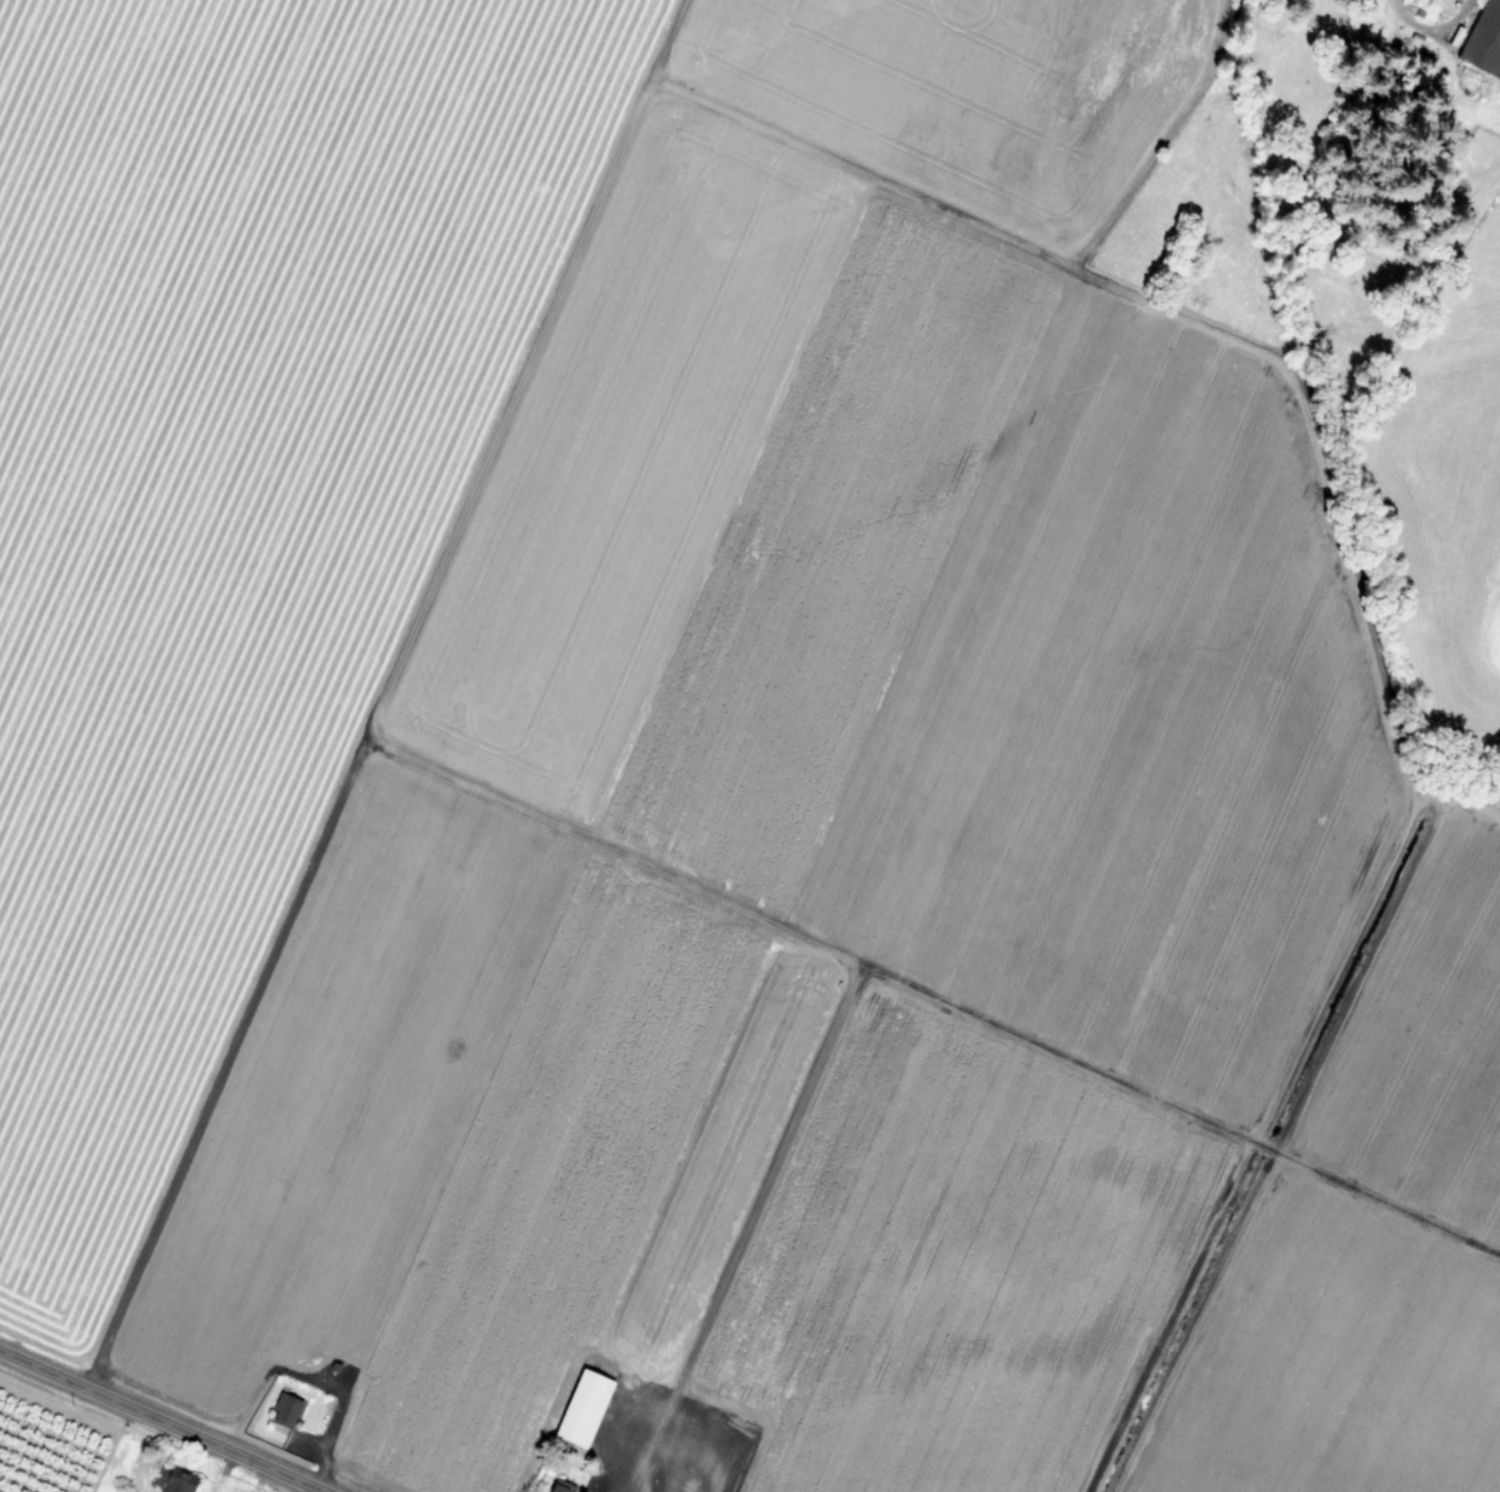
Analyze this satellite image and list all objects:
building: (1484, 40)
crop: (759, 735)
building: (582, 1408)
building: (284, 1410)
road: (335, 1413)
road: (161, 1421)
crop: (84, 1455)
building: (177, 1481)
building: (560, 1486)

